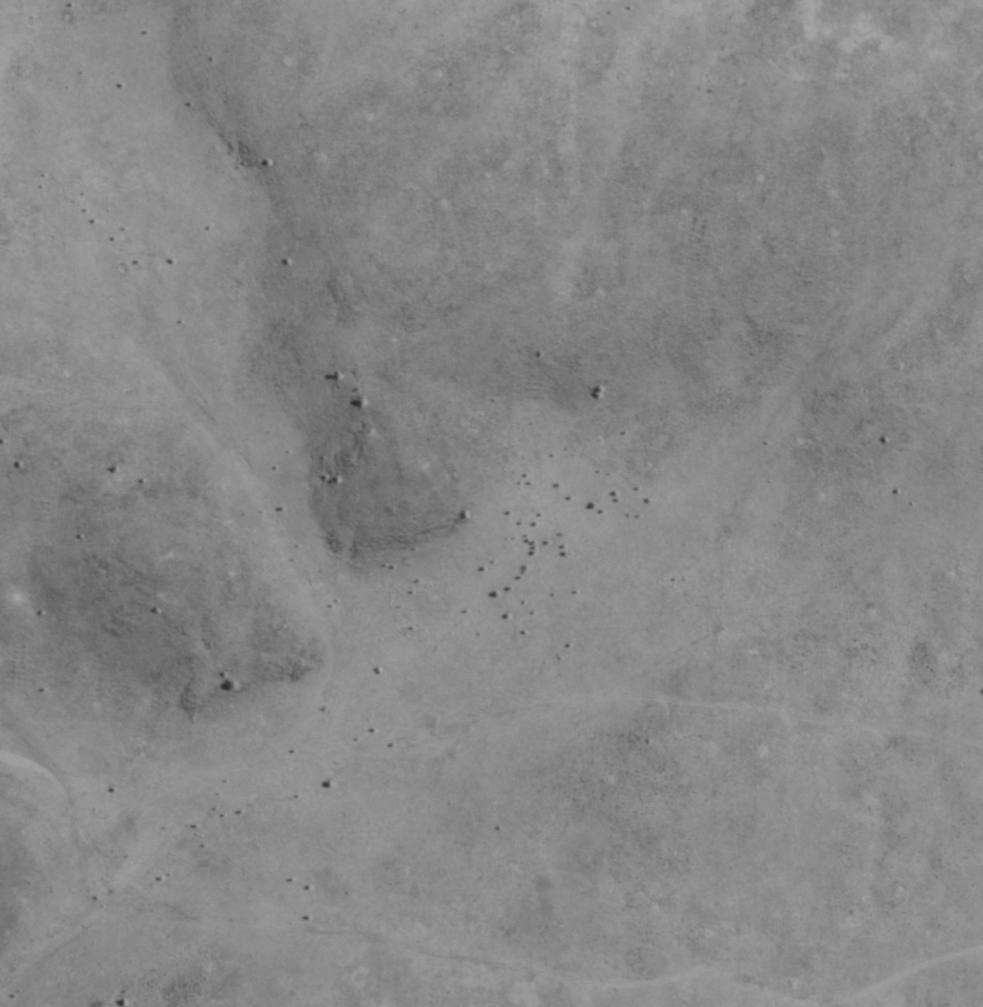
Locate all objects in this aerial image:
road: (949, 925)

